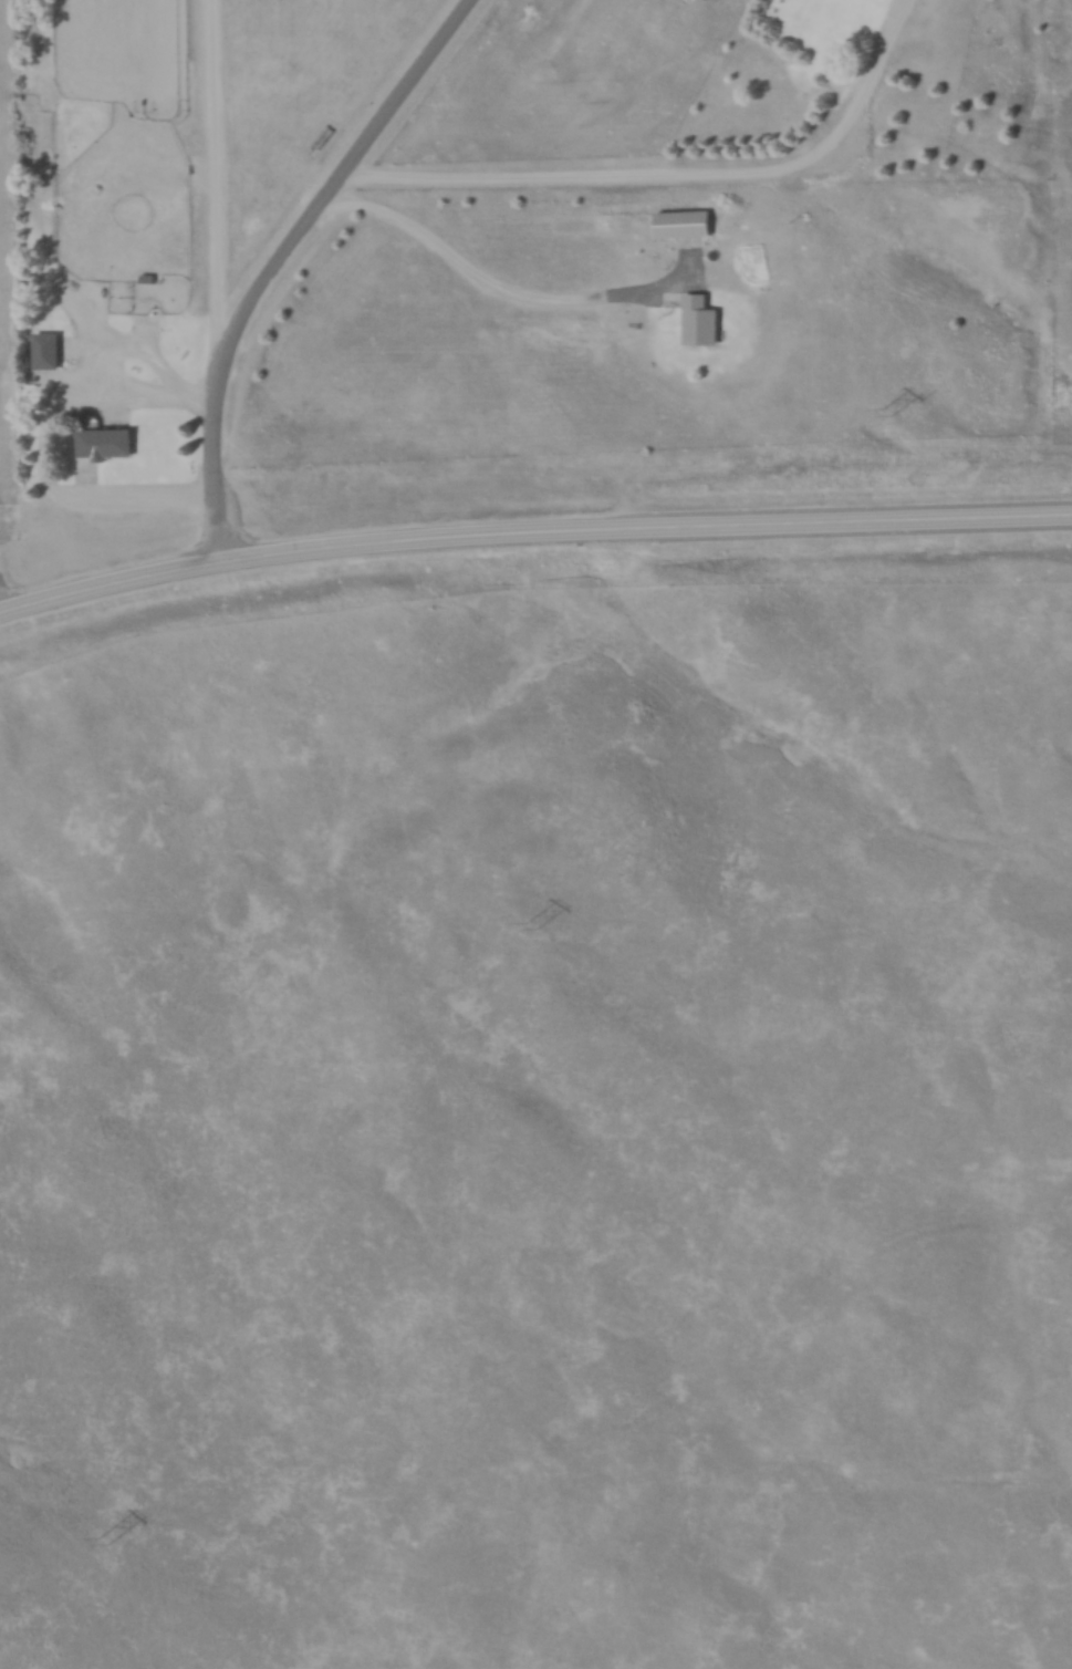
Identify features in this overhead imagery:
road: (207, 168)
road: (670, 178)
building: (686, 222)
road: (278, 259)
road: (488, 293)
building: (704, 319)
building: (74, 345)
building: (49, 350)
power tower: (894, 411)
building: (108, 442)
road: (532, 538)
power tower: (537, 925)
power tower: (108, 1540)

